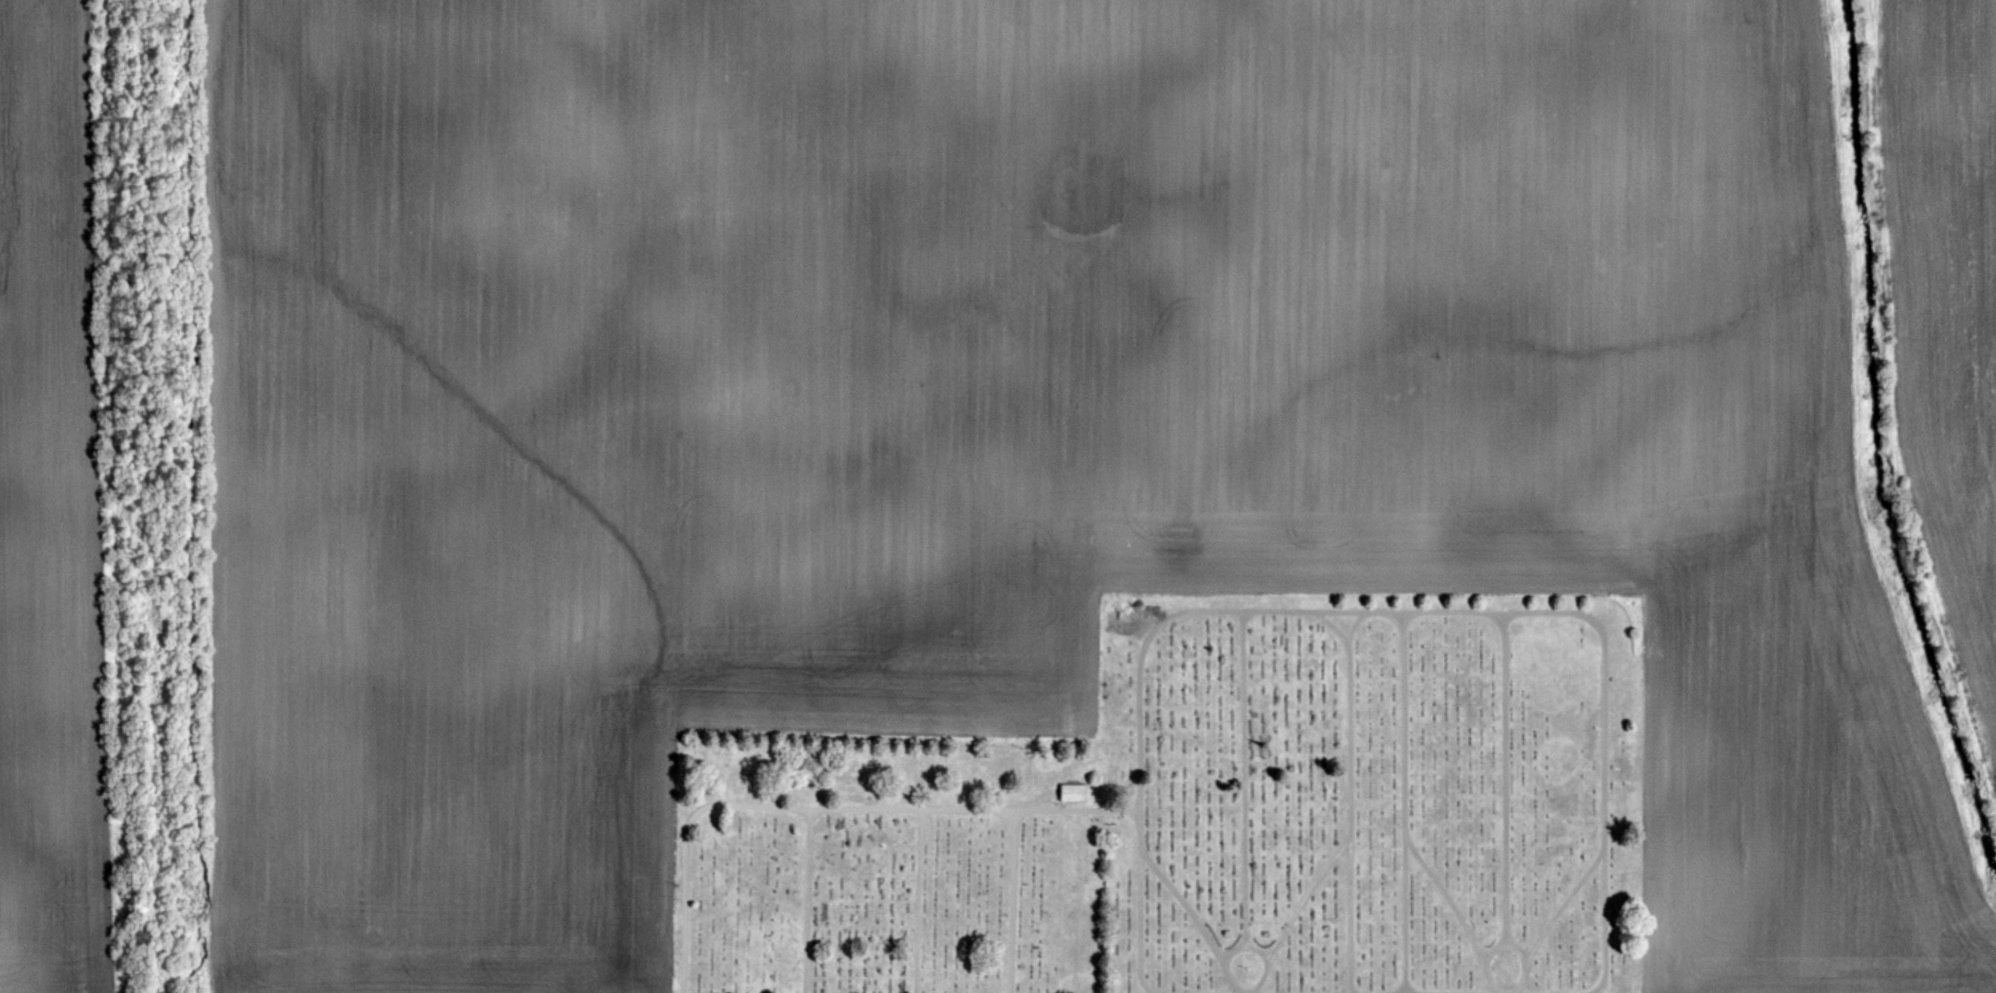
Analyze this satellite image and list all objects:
park: (1373, 794)
building: (1073, 796)
park: (891, 863)

